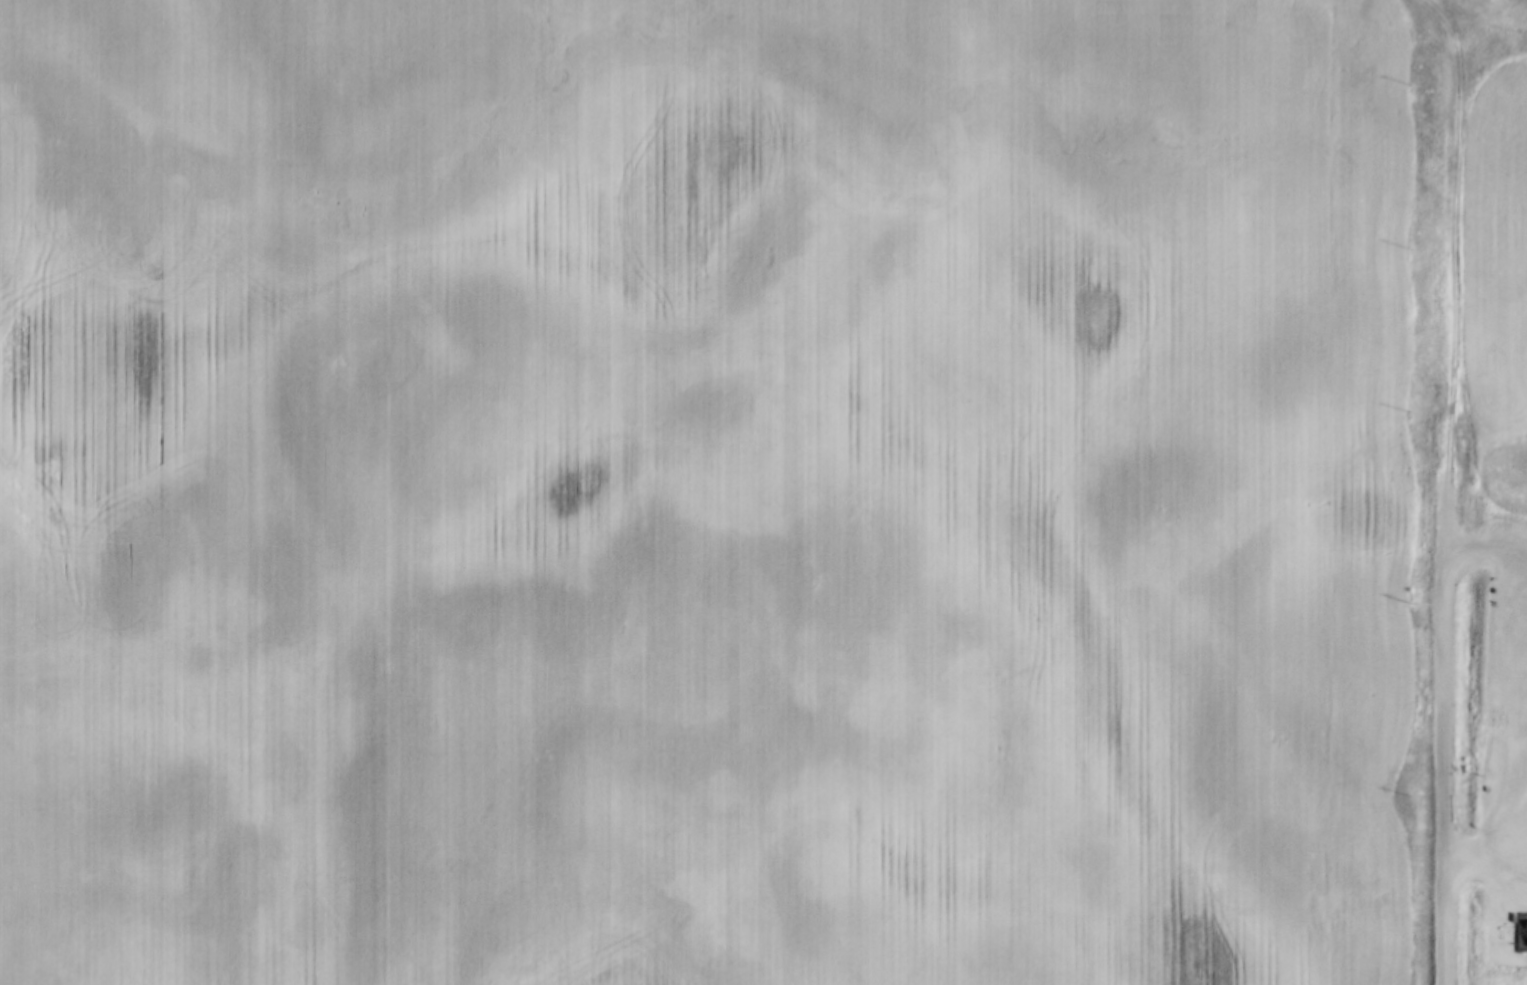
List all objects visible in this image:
road: (1442, 16)
road: (1464, 444)
road: (1461, 918)
building: (1517, 937)
storage tank: (1517, 937)
building: (1525, 937)
storage tank: (1525, 937)

